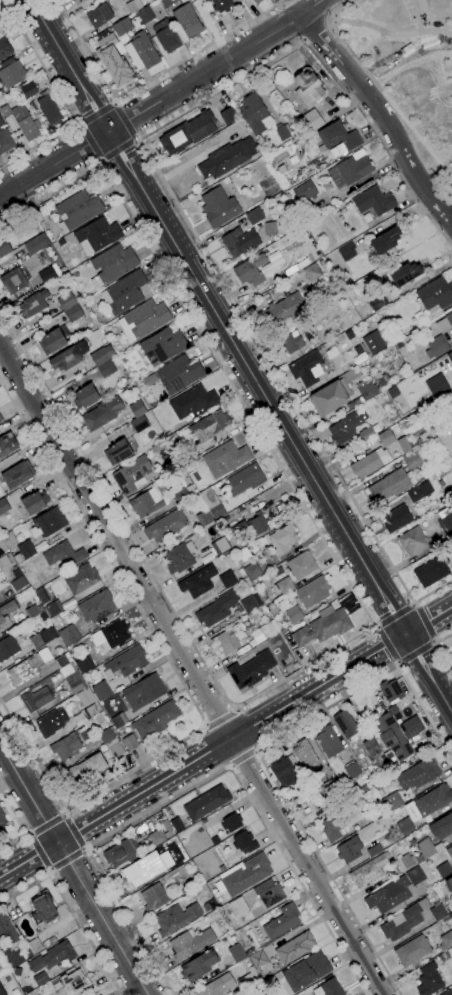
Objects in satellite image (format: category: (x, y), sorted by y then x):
building: (205, 1)
building: (256, 1)
building: (78, 2)
building: (167, 3)
road: (285, 3)
building: (133, 5)
building: (221, 5)
road: (310, 6)
building: (99, 15)
building: (145, 15)
building: (0, 19)
road: (326, 21)
building: (186, 23)
building: (122, 27)
road: (211, 29)
road: (310, 32)
building: (166, 36)
road: (303, 39)
building: (4, 48)
building: (141, 51)
building: (112, 60)
road: (70, 65)
park: (410, 70)
road: (206, 73)
building: (12, 74)
road: (153, 78)
building: (279, 85)
building: (308, 87)
road: (379, 89)
building: (28, 90)
road: (61, 101)
building: (48, 108)
road: (95, 113)
building: (253, 113)
building: (228, 115)
road: (383, 115)
road: (127, 120)
building: (312, 120)
building: (22, 121)
building: (281, 131)
building: (187, 133)
building: (337, 137)
building: (5, 141)
road: (87, 145)
road: (119, 152)
building: (226, 159)
road: (54, 163)
building: (349, 171)
building: (225, 180)
building: (304, 191)
road: (172, 198)
building: (373, 201)
building: (218, 207)
building: (78, 210)
building: (308, 211)
building: (254, 216)
building: (271, 228)
building: (97, 235)
building: (239, 241)
building: (385, 241)
building: (36, 244)
building: (4, 247)
building: (346, 251)
building: (113, 263)
building: (250, 270)
building: (311, 271)
building: (49, 274)
building: (405, 274)
building: (13, 281)
building: (124, 292)
building: (435, 294)
building: (377, 302)
building: (32, 305)
building: (69, 307)
building: (282, 310)
building: (147, 319)
building: (444, 323)
building: (349, 335)
building: (53, 341)
building: (292, 342)
building: (373, 342)
building: (163, 345)
building: (436, 347)
building: (101, 355)
building: (68, 357)
building: (450, 357)
building: (310, 367)
building: (179, 374)
building: (350, 375)
road: (258, 382)
building: (436, 385)
building: (366, 389)
building: (393, 392)
building: (85, 397)
building: (328, 398)
building: (193, 403)
building: (137, 409)
building: (102, 413)
building: (1, 419)
building: (138, 423)
building: (209, 426)
building: (346, 426)
building: (375, 428)
building: (366, 433)
building: (386, 438)
building: (7, 444)
building: (404, 445)
building: (118, 452)
building: (225, 459)
building: (413, 460)
building: (370, 462)
building: (172, 463)
building: (17, 474)
building: (131, 475)
building: (244, 479)
building: (391, 485)
building: (419, 492)
building: (183, 494)
building: (149, 501)
building: (9, 502)
building: (35, 502)
building: (212, 503)
building: (204, 517)
building: (396, 518)
building: (445, 522)
building: (47, 523)
building: (253, 525)
building: (166, 526)
building: (283, 539)
building: (9, 540)
building: (413, 541)
building: (2, 546)
building: (220, 546)
building: (26, 549)
building: (63, 556)
building: (18, 559)
building: (177, 559)
building: (3, 561)
building: (235, 563)
building: (301, 565)
building: (252, 571)
building: (430, 572)
building: (16, 573)
building: (226, 578)
building: (81, 579)
building: (198, 581)
building: (18, 584)
building: (285, 585)
building: (312, 592)
building: (42, 596)
building: (265, 601)
building: (250, 603)
building: (96, 607)
building: (54, 608)
building: (217, 608)
building: (33, 611)
building: (6, 613)
road: (364, 613)
road: (392, 614)
building: (294, 615)
road: (423, 622)
road: (429, 622)
building: (323, 626)
building: (268, 630)
building: (68, 634)
building: (111, 635)
building: (42, 637)
building: (229, 639)
road: (384, 646)
building: (7, 647)
road: (437, 649)
road: (414, 653)
building: (63, 660)
building: (126, 662)
building: (84, 664)
building: (28, 666)
road: (191, 670)
building: (252, 670)
road: (429, 673)
road: (179, 678)
building: (75, 682)
building: (392, 690)
building: (100, 691)
building: (144, 692)
building: (86, 697)
building: (36, 699)
building: (92, 710)
building: (393, 710)
road: (217, 716)
building: (398, 716)
building: (118, 720)
building: (155, 721)
building: (51, 722)
building: (345, 724)
building: (410, 726)
road: (243, 730)
building: (85, 736)
building: (392, 737)
building: (111, 741)
building: (328, 741)
building: (130, 742)
building: (65, 746)
road: (215, 746)
building: (371, 747)
road: (255, 754)
road: (203, 756)
road: (242, 760)
building: (312, 768)
building: (86, 769)
building: (352, 769)
building: (283, 772)
building: (418, 774)
road: (197, 781)
building: (364, 787)
building: (305, 788)
building: (358, 791)
building: (392, 801)
building: (432, 801)
building: (206, 802)
building: (314, 802)
building: (2, 819)
building: (231, 822)
road: (44, 824)
building: (166, 824)
building: (176, 824)
building: (337, 824)
road: (20, 826)
building: (404, 826)
building: (442, 827)
road: (73, 832)
building: (158, 837)
building: (244, 842)
building: (412, 842)
building: (426, 849)
building: (349, 850)
building: (374, 850)
building: (122, 852)
building: (449, 852)
road: (36, 853)
road: (66, 861)
building: (404, 862)
building: (146, 868)
building: (443, 870)
road: (73, 871)
building: (369, 871)
building: (245, 874)
building: (449, 884)
building: (395, 892)
building: (272, 895)
building: (153, 897)
building: (206, 906)
building: (237, 906)
road: (69, 908)
building: (43, 910)
building: (62, 910)
building: (437, 912)
building: (450, 916)
building: (176, 918)
building: (403, 921)
building: (282, 922)
building: (7, 930)
building: (447, 940)
building: (190, 943)
building: (34, 945)
building: (294, 948)
building: (412, 950)
building: (250, 952)
building: (236, 953)
building: (27, 954)
building: (10, 956)
building: (51, 957)
building: (257, 958)
building: (199, 965)
building: (306, 971)
building: (40, 979)
building: (73, 980)
building: (248, 980)
building: (428, 980)
building: (217, 986)
building: (328, 988)
building: (2, 991)
building: (447, 992)
building: (99, 994)
building: (266, 994)
building: (268, 994)

